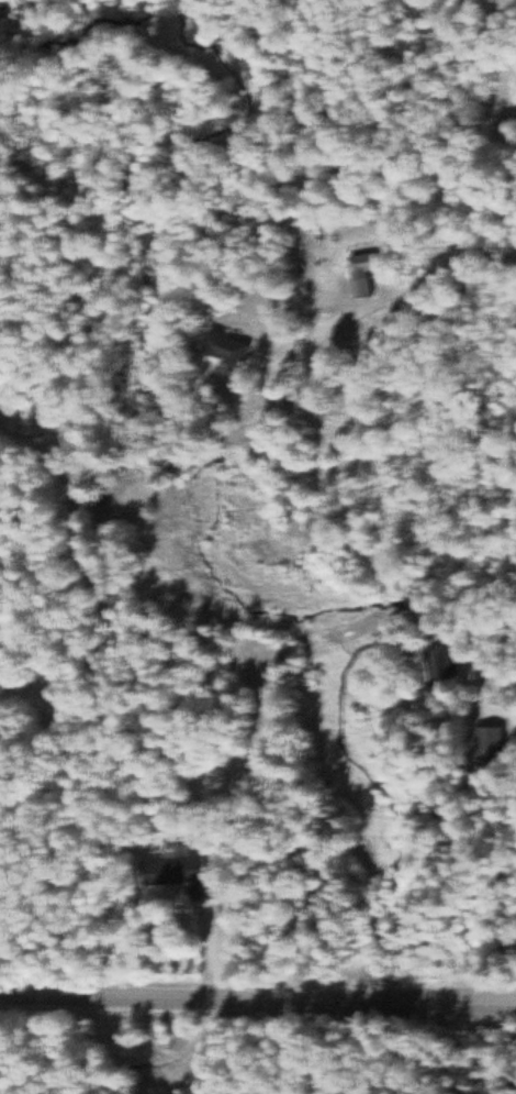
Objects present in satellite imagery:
building: (367, 272)
road: (393, 295)
building: (237, 349)
building: (450, 666)
road: (500, 681)
road: (496, 701)
building: (495, 743)
building: (184, 873)
road: (220, 999)
road: (479, 1002)
road: (166, 1047)

